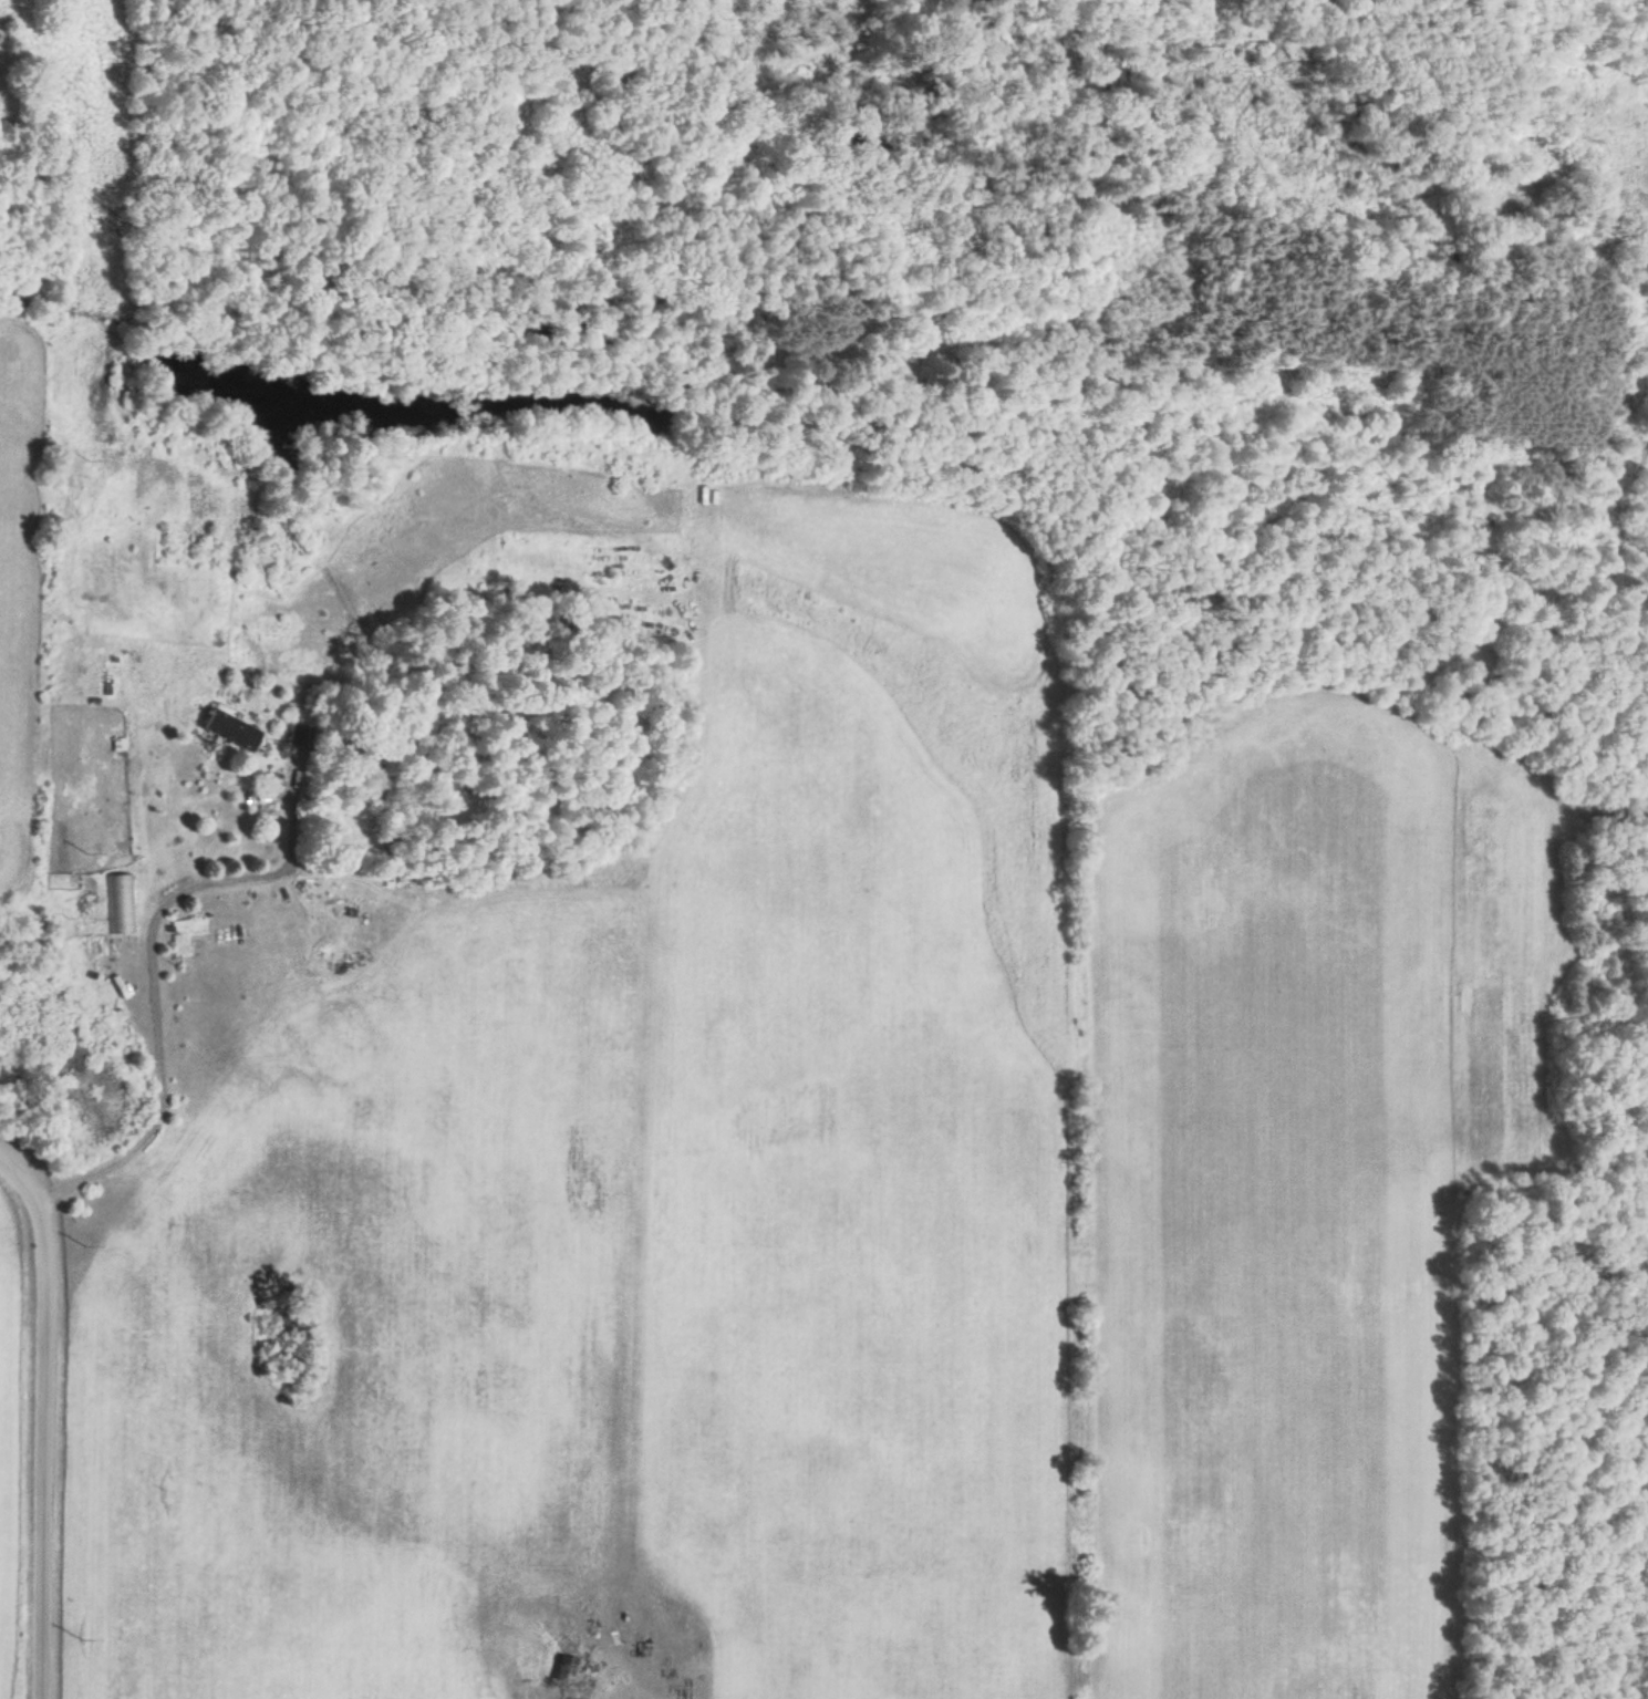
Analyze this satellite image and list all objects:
building: (477, 564)
building: (231, 728)
road: (8, 1159)
road: (44, 1429)
building: (576, 1678)

